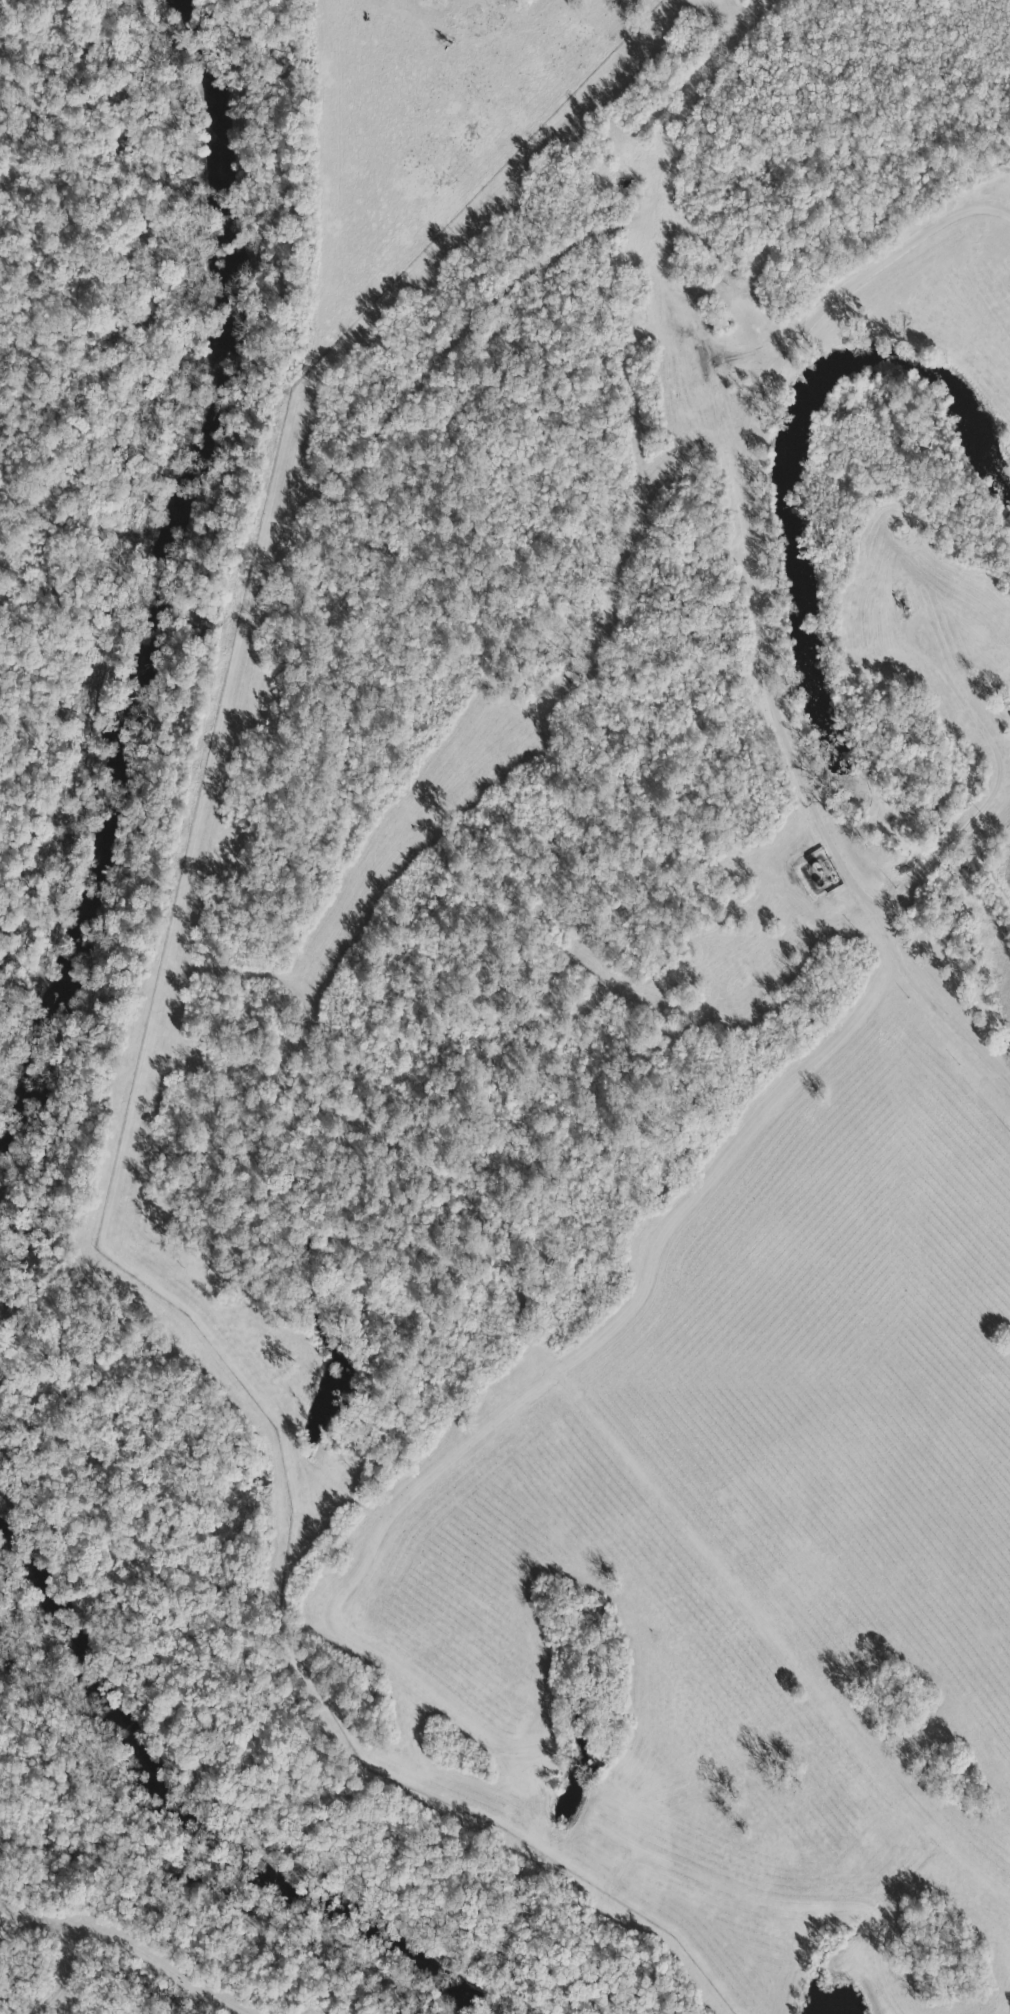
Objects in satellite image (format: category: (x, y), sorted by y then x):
road: (399, 13)
road: (752, 359)
road: (299, 525)
road: (620, 541)
river: (163, 589)
road: (932, 597)
road: (778, 743)
road: (994, 791)
river: (219, 1820)

